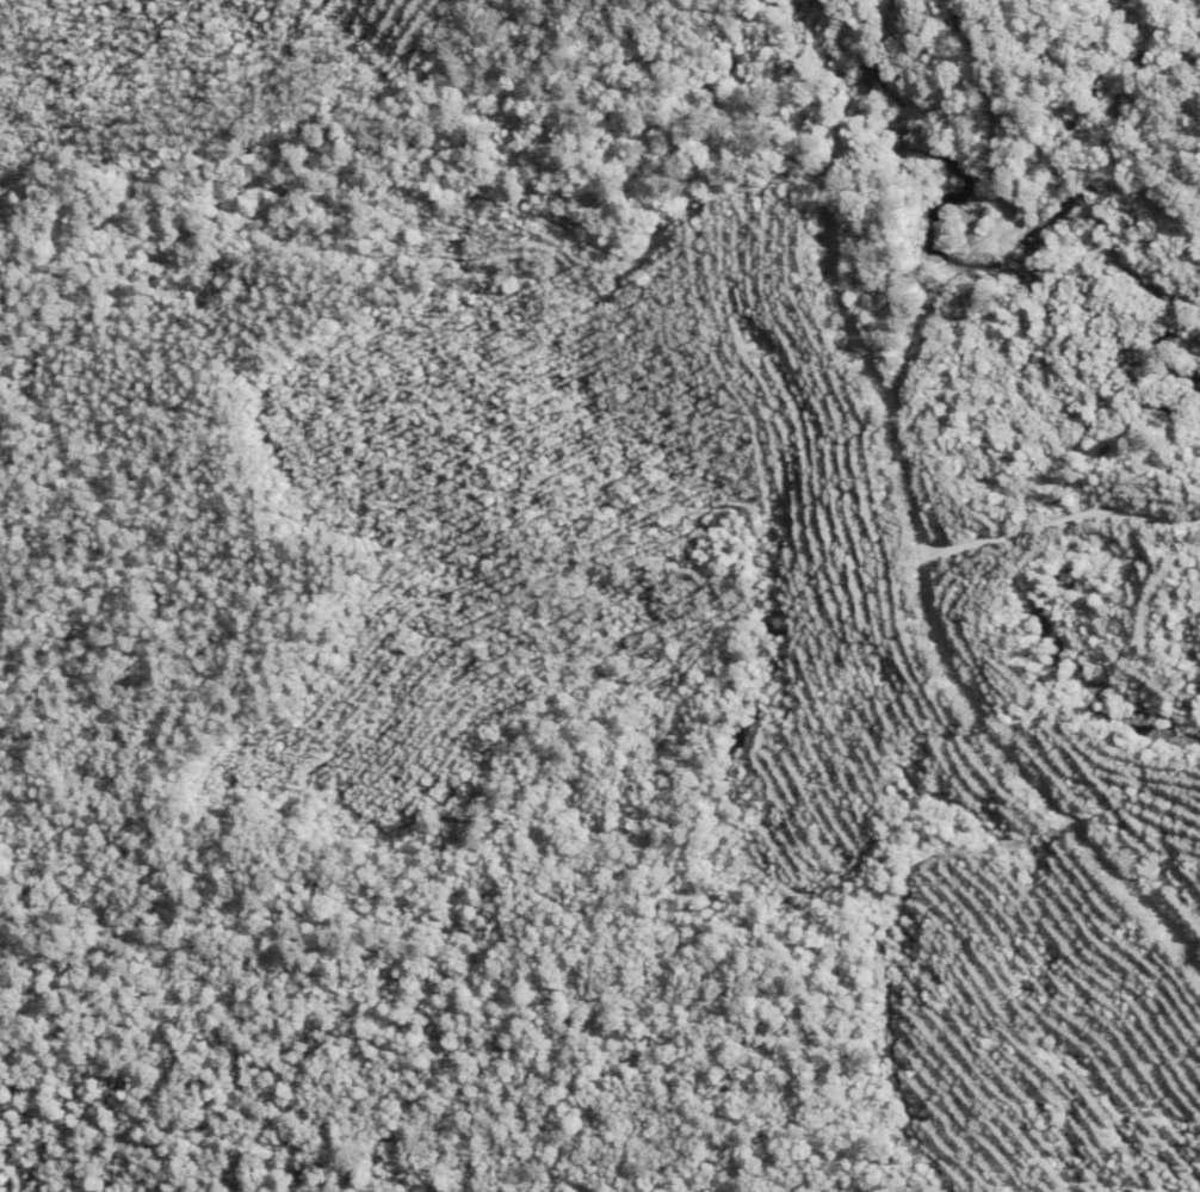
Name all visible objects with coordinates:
road: (916, 526)

